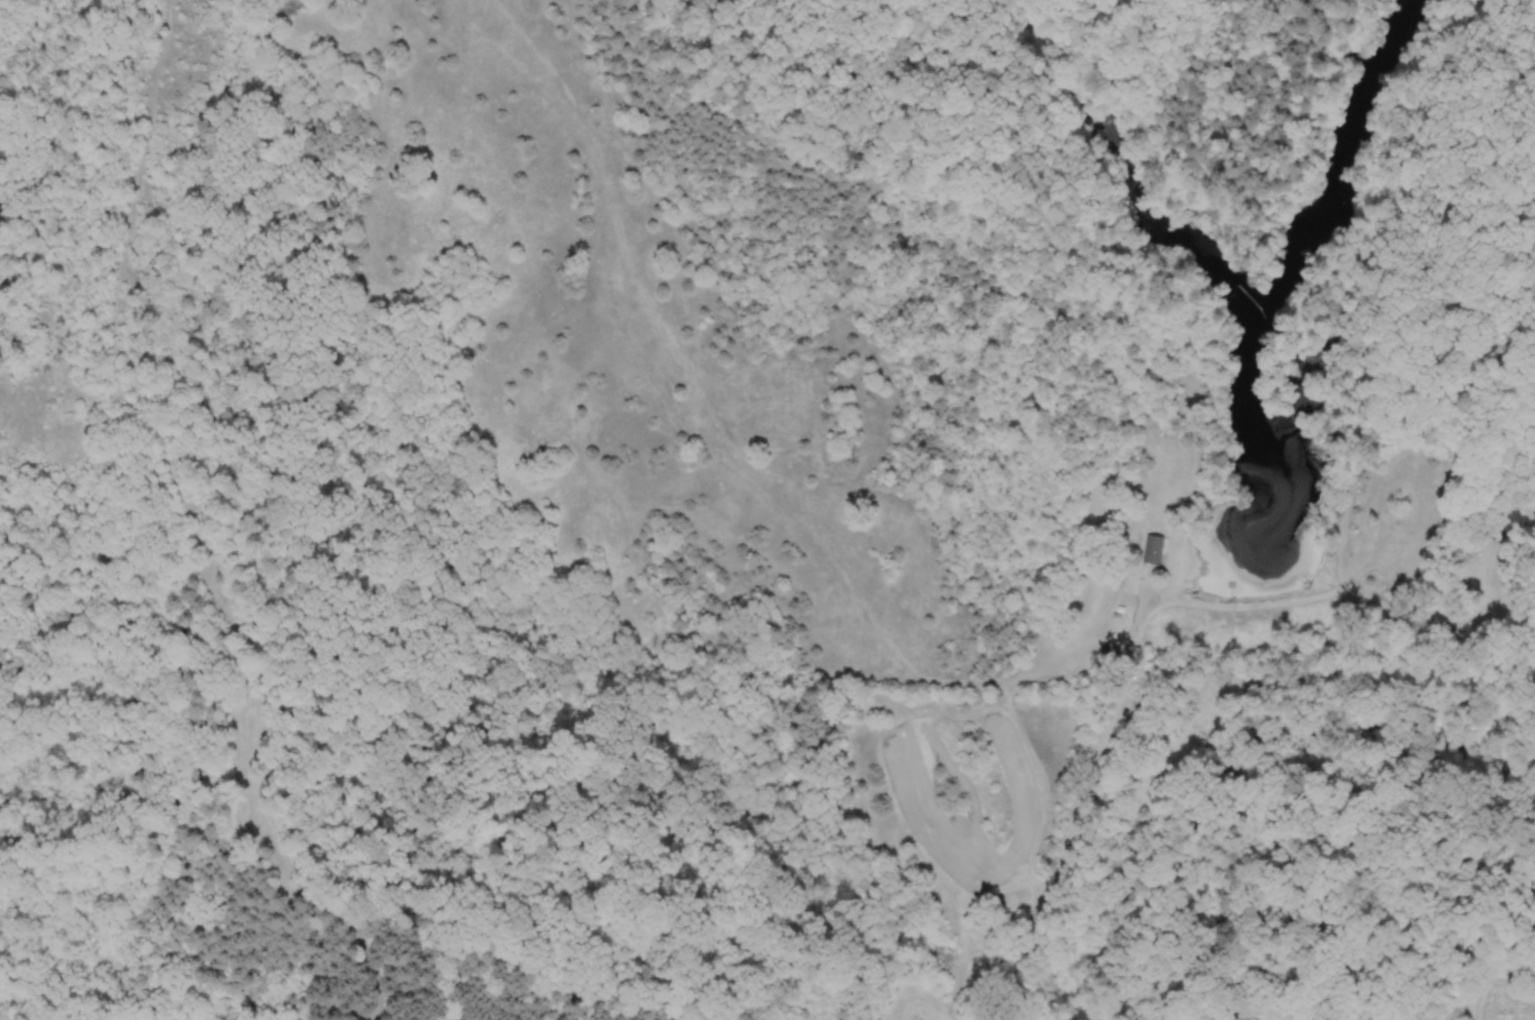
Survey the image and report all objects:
building: (1155, 551)
road: (1075, 802)

